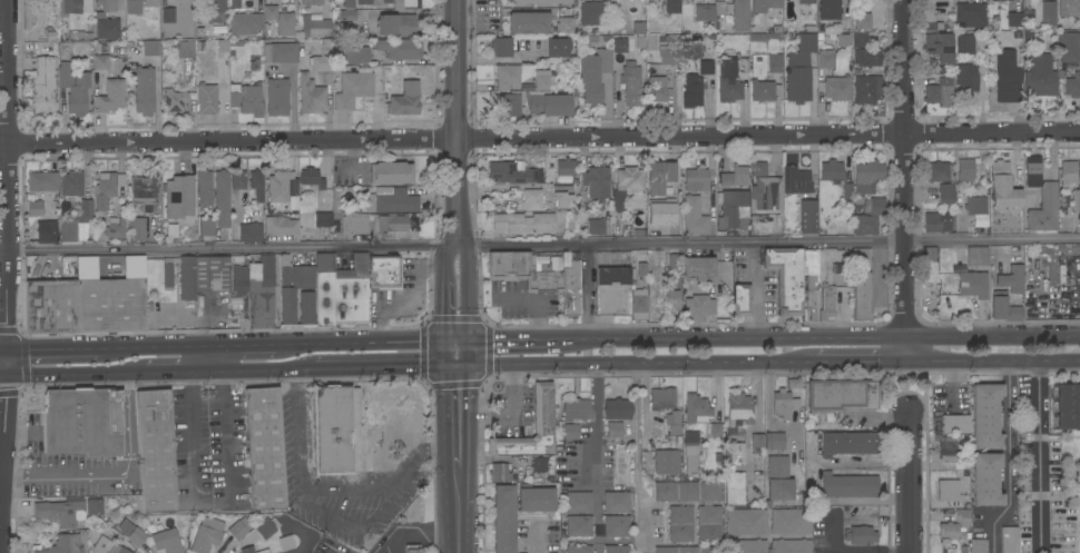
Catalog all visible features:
building: (941, 0)
building: (1002, 0)
building: (386, 1)
building: (539, 1)
building: (311, 2)
building: (364, 2)
building: (406, 2)
building: (236, 3)
building: (765, 6)
building: (805, 6)
building: (68, 7)
building: (138, 7)
building: (672, 7)
building: (719, 7)
building: (106, 8)
building: (1069, 8)
building: (829, 10)
building: (210, 12)
building: (704, 12)
building: (866, 12)
building: (595, 13)
building: (1048, 14)
building: (168, 16)
building: (346, 16)
building: (739, 16)
building: (970, 16)
building: (1019, 18)
building: (279, 19)
building: (861, 21)
building: (528, 22)
building: (245, 23)
building: (395, 23)
building: (564, 24)
building: (314, 27)
building: (107, 28)
building: (218, 30)
building: (199, 32)
building: (78, 34)
building: (765, 37)
building: (599, 40)
building: (843, 40)
building: (860, 40)
building: (806, 42)
building: (624, 45)
building: (964, 45)
building: (939, 46)
building: (500, 47)
building: (559, 47)
building: (1068, 47)
building: (150, 48)
building: (400, 48)
building: (691, 48)
building: (185, 49)
building: (279, 52)
building: (356, 53)
building: (867, 57)
building: (322, 59)
building: (825, 59)
road: (509, 60)
building: (797, 60)
building: (100, 62)
building: (775, 63)
building: (706, 67)
building: (593, 75)
building: (659, 76)
building: (1039, 76)
building: (507, 77)
building: (730, 77)
building: (1007, 77)
building: (966, 81)
building: (631, 83)
building: (43, 85)
building: (798, 85)
building: (1072, 85)
building: (73, 88)
building: (353, 88)
building: (836, 88)
building: (144, 90)
building: (690, 90)
building: (764, 90)
building: (867, 90)
building: (940, 92)
building: (110, 96)
building: (311, 96)
building: (277, 97)
building: (246, 98)
building: (548, 98)
building: (207, 99)
building: (404, 99)
building: (174, 100)
building: (508, 105)
road: (455, 122)
road: (6, 125)
road: (993, 135)
road: (453, 139)
building: (757, 169)
building: (564, 170)
building: (832, 171)
building: (937, 171)
building: (965, 171)
building: (390, 172)
building: (513, 174)
building: (1068, 174)
building: (867, 176)
building: (734, 177)
building: (311, 178)
building: (629, 178)
building: (659, 178)
building: (696, 179)
building: (796, 180)
road: (906, 180)
building: (42, 181)
building: (597, 182)
building: (71, 185)
building: (237, 186)
building: (281, 186)
building: (1002, 186)
building: (204, 189)
building: (146, 191)
building: (945, 194)
building: (181, 196)
building: (562, 196)
building: (766, 196)
building: (1041, 197)
building: (335, 198)
building: (222, 199)
building: (391, 200)
building: (531, 200)
building: (1076, 200)
building: (100, 204)
building: (975, 205)
building: (874, 207)
building: (733, 211)
building: (660, 214)
building: (807, 216)
building: (694, 217)
building: (45, 218)
building: (87, 218)
building: (939, 221)
building: (392, 223)
building: (523, 223)
building: (353, 224)
building: (281, 225)
building: (865, 225)
building: (206, 226)
building: (595, 226)
building: (68, 229)
building: (136, 229)
building: (249, 233)
road: (543, 245)
road: (3, 249)
building: (976, 256)
road: (443, 259)
road: (468, 261)
building: (639, 263)
building: (672, 264)
building: (929, 265)
building: (167, 267)
building: (698, 267)
building: (523, 270)
building: (385, 271)
building: (616, 271)
building: (1052, 273)
building: (203, 275)
building: (786, 278)
building: (239, 279)
building: (1012, 279)
building: (861, 284)
building: (973, 285)
building: (292, 286)
building: (323, 289)
building: (571, 290)
building: (351, 293)
building: (262, 295)
building: (811, 298)
road: (7, 299)
building: (671, 299)
building: (742, 300)
building: (826, 300)
building: (638, 304)
building: (110, 305)
building: (696, 305)
building: (50, 306)
building: (306, 307)
road: (444, 309)
road: (468, 309)
building: (1003, 309)
road: (175, 316)
traffic signals: (459, 336)
road: (509, 336)
road: (819, 336)
road: (367, 338)
road: (244, 342)
road: (168, 345)
road: (66, 348)
road: (2, 349)
traffic signals: (6, 349)
road: (458, 350)
road: (205, 358)
road: (992, 361)
road: (4, 362)
road: (860, 362)
road: (635, 364)
traffic signals: (458, 366)
road: (386, 367)
road: (264, 371)
road: (178, 373)
road: (2, 374)
traffic signals: (4, 374)
road: (75, 374)
road: (952, 379)
building: (842, 395)
road: (645, 398)
building: (661, 399)
building: (783, 404)
building: (1068, 406)
building: (542, 408)
building: (739, 408)
building: (577, 409)
building: (617, 409)
building: (697, 409)
building: (985, 415)
road: (458, 416)
road: (509, 416)
building: (674, 423)
building: (955, 424)
building: (78, 425)
road: (128, 426)
building: (1025, 427)
road: (752, 428)
road: (297, 429)
building: (337, 429)
building: (615, 429)
building: (715, 429)
building: (571, 432)
road: (2, 436)
building: (757, 441)
building: (774, 441)
building: (848, 444)
road: (634, 447)
building: (264, 448)
building: (946, 450)
road: (415, 451)
road: (596, 451)
building: (155, 452)
building: (690, 452)
road: (1039, 456)
road: (1008, 460)
building: (667, 462)
building: (539, 464)
building: (607, 465)
building: (1054, 466)
building: (1025, 470)
building: (499, 473)
building: (734, 473)
road: (60, 476)
road: (0, 478)
building: (778, 480)
building: (985, 480)
road: (909, 481)
building: (848, 485)
road: (459, 488)
road: (348, 490)
building: (948, 491)
building: (687, 492)
building: (536, 500)
road: (208, 502)
building: (616, 502)
building: (579, 503)
building: (60, 512)
road: (893, 514)
road: (854, 516)
building: (962, 517)
building: (503, 519)
building: (745, 522)
building: (791, 522)
building: (680, 524)
building: (708, 524)
road: (351, 526)
building: (579, 526)
building: (616, 526)
building: (1024, 527)
building: (1062, 527)
building: (265, 529)
building: (237, 531)
road: (416, 531)
road: (460, 531)
building: (950, 532)
building: (131, 533)
road: (832, 534)
building: (206, 535)
building: (861, 535)
building: (1009, 540)
building: (166, 541)
building: (60, 544)
building: (108, 545)
building: (792, 545)
building: (746, 546)
building: (978, 546)
building: (412, 549)
building: (578, 549)
building: (616, 549)
building: (247, 550)
building: (688, 550)
building: (264, 551)
road: (325, 551)
road: (893, 551)
road: (854, 552)

